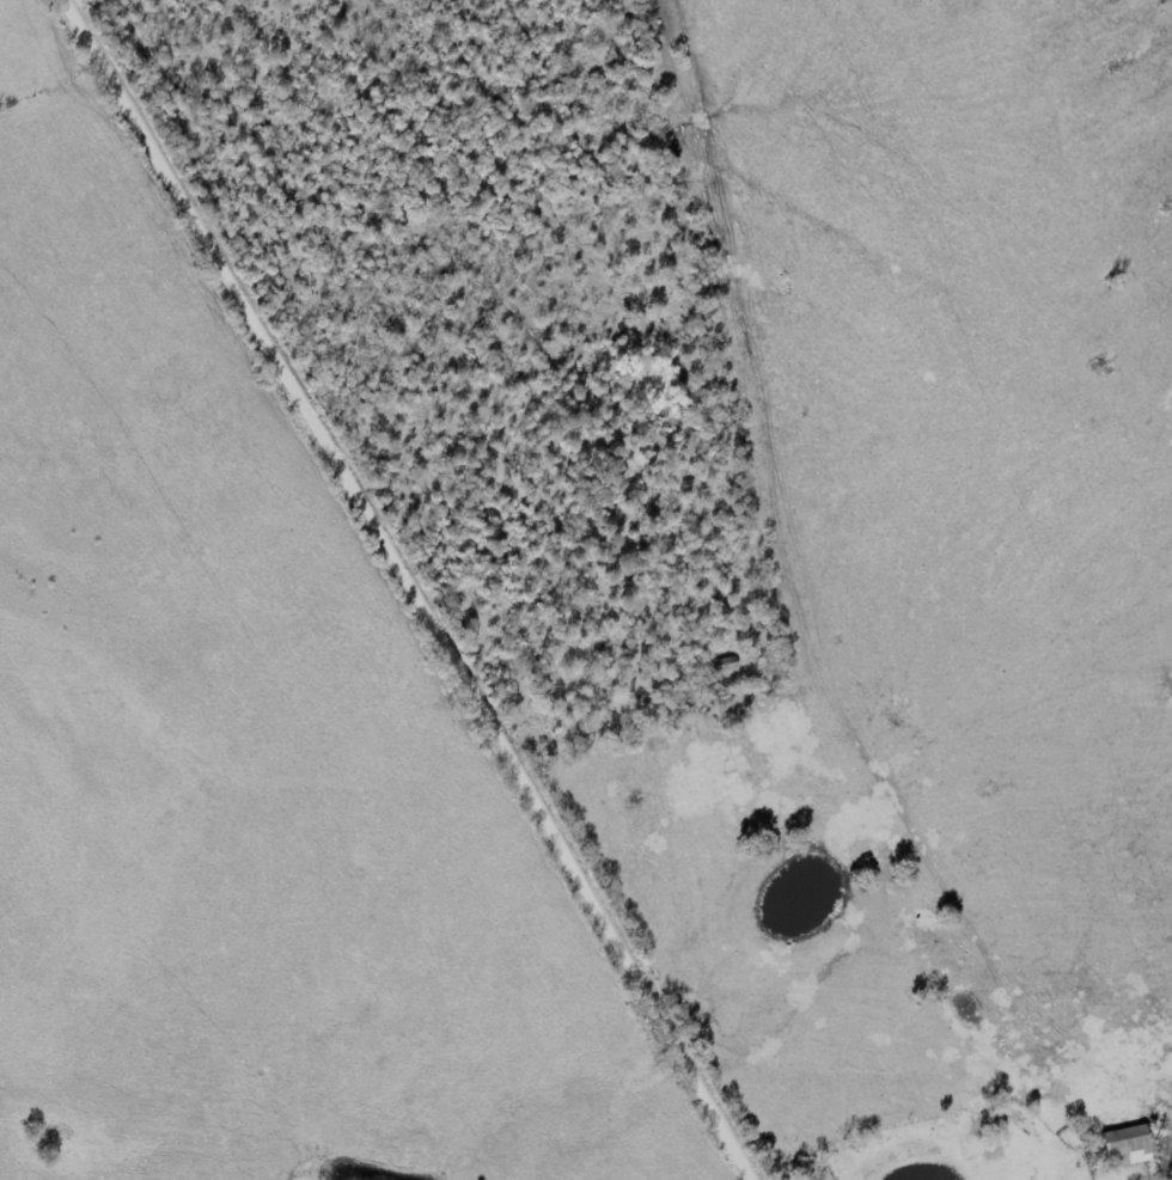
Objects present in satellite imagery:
road: (421, 587)
building: (1127, 1145)
road: (1159, 1170)

